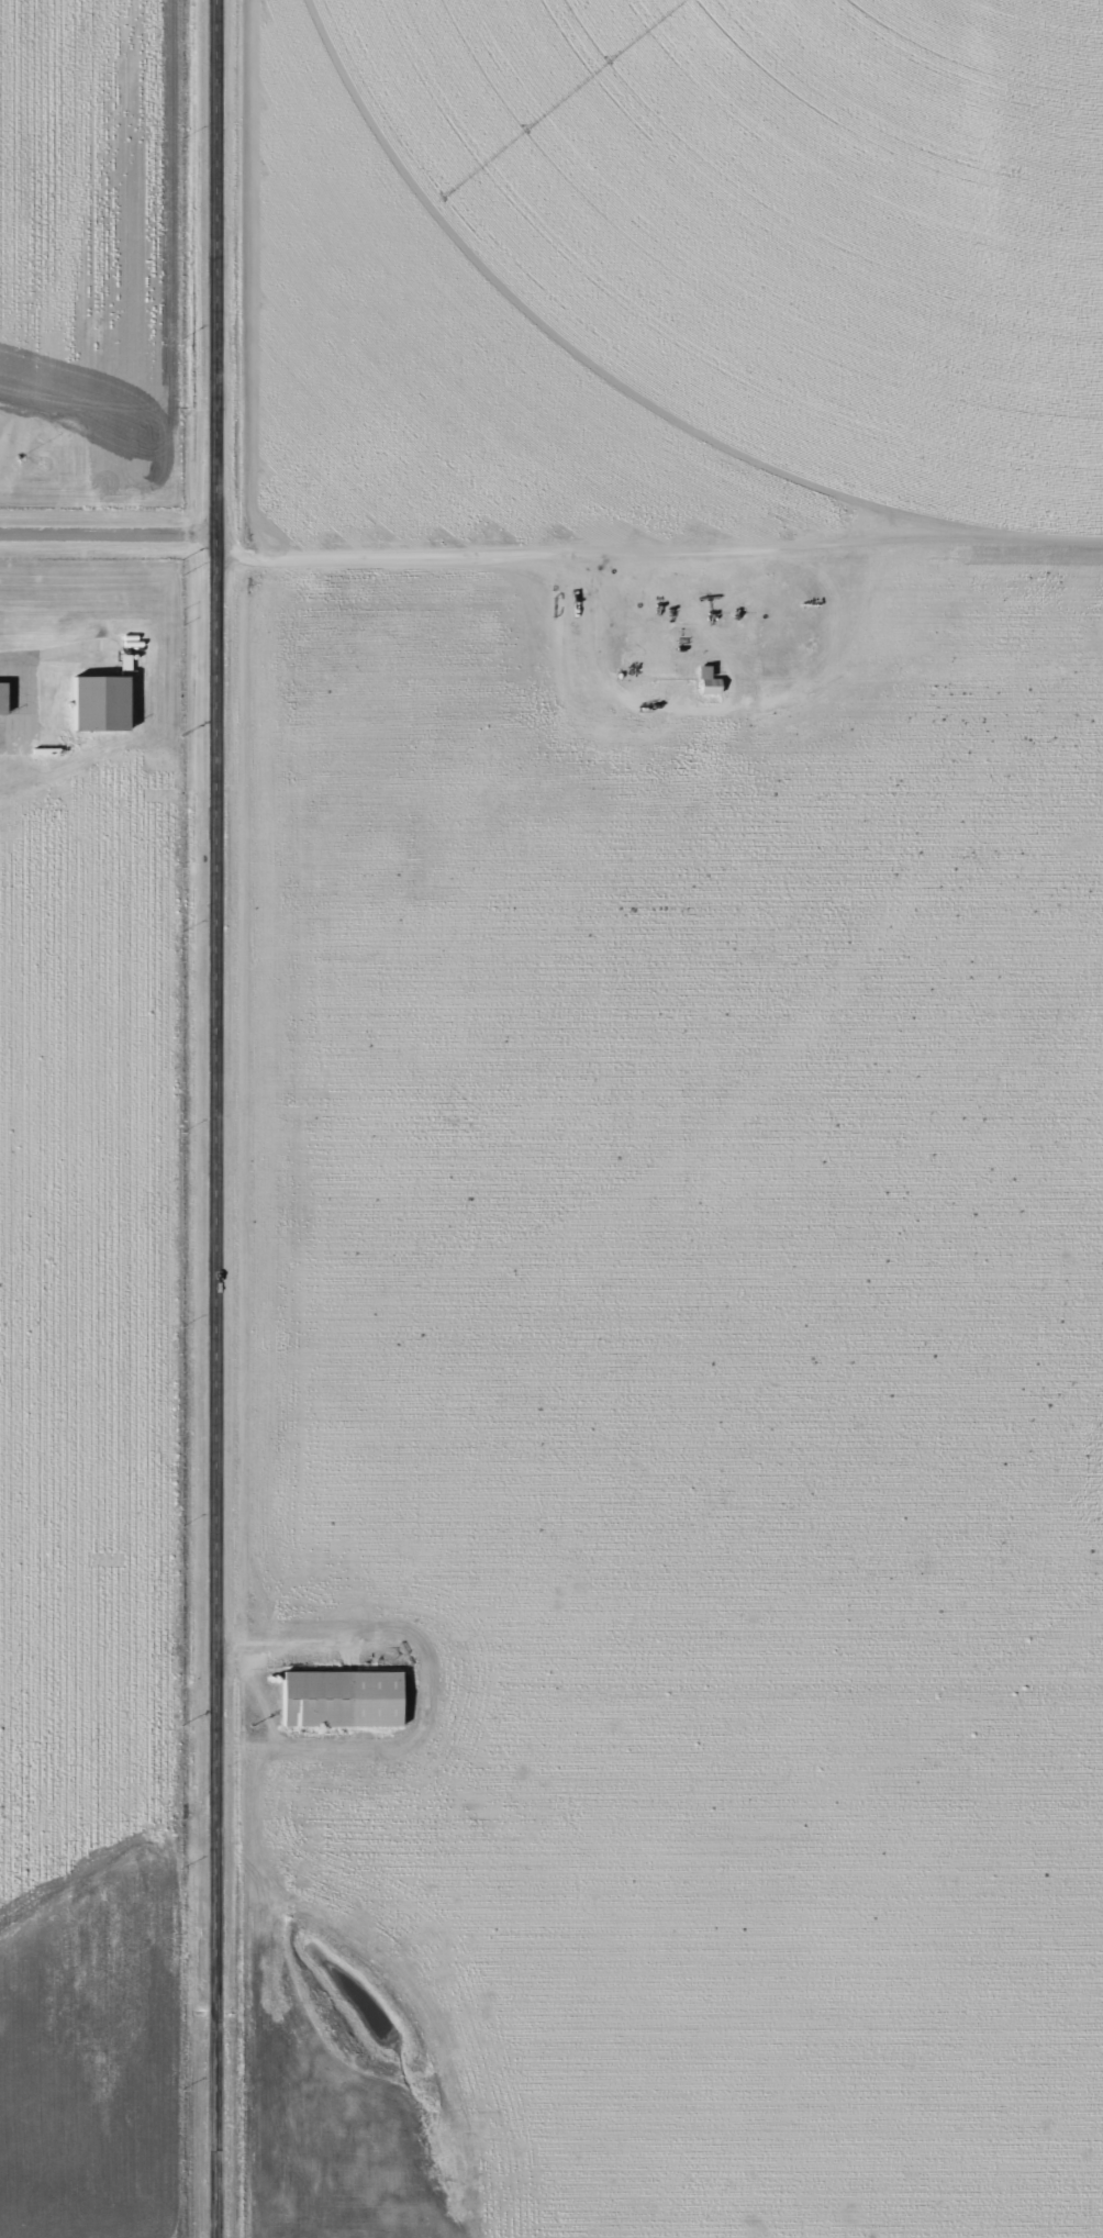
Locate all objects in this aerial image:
road: (105, 536)
building: (706, 684)
airport hangar: (0, 699)
building: (0, 699)
airport hangar: (94, 703)
building: (94, 703)
road: (214, 1118)
building: (336, 1701)

